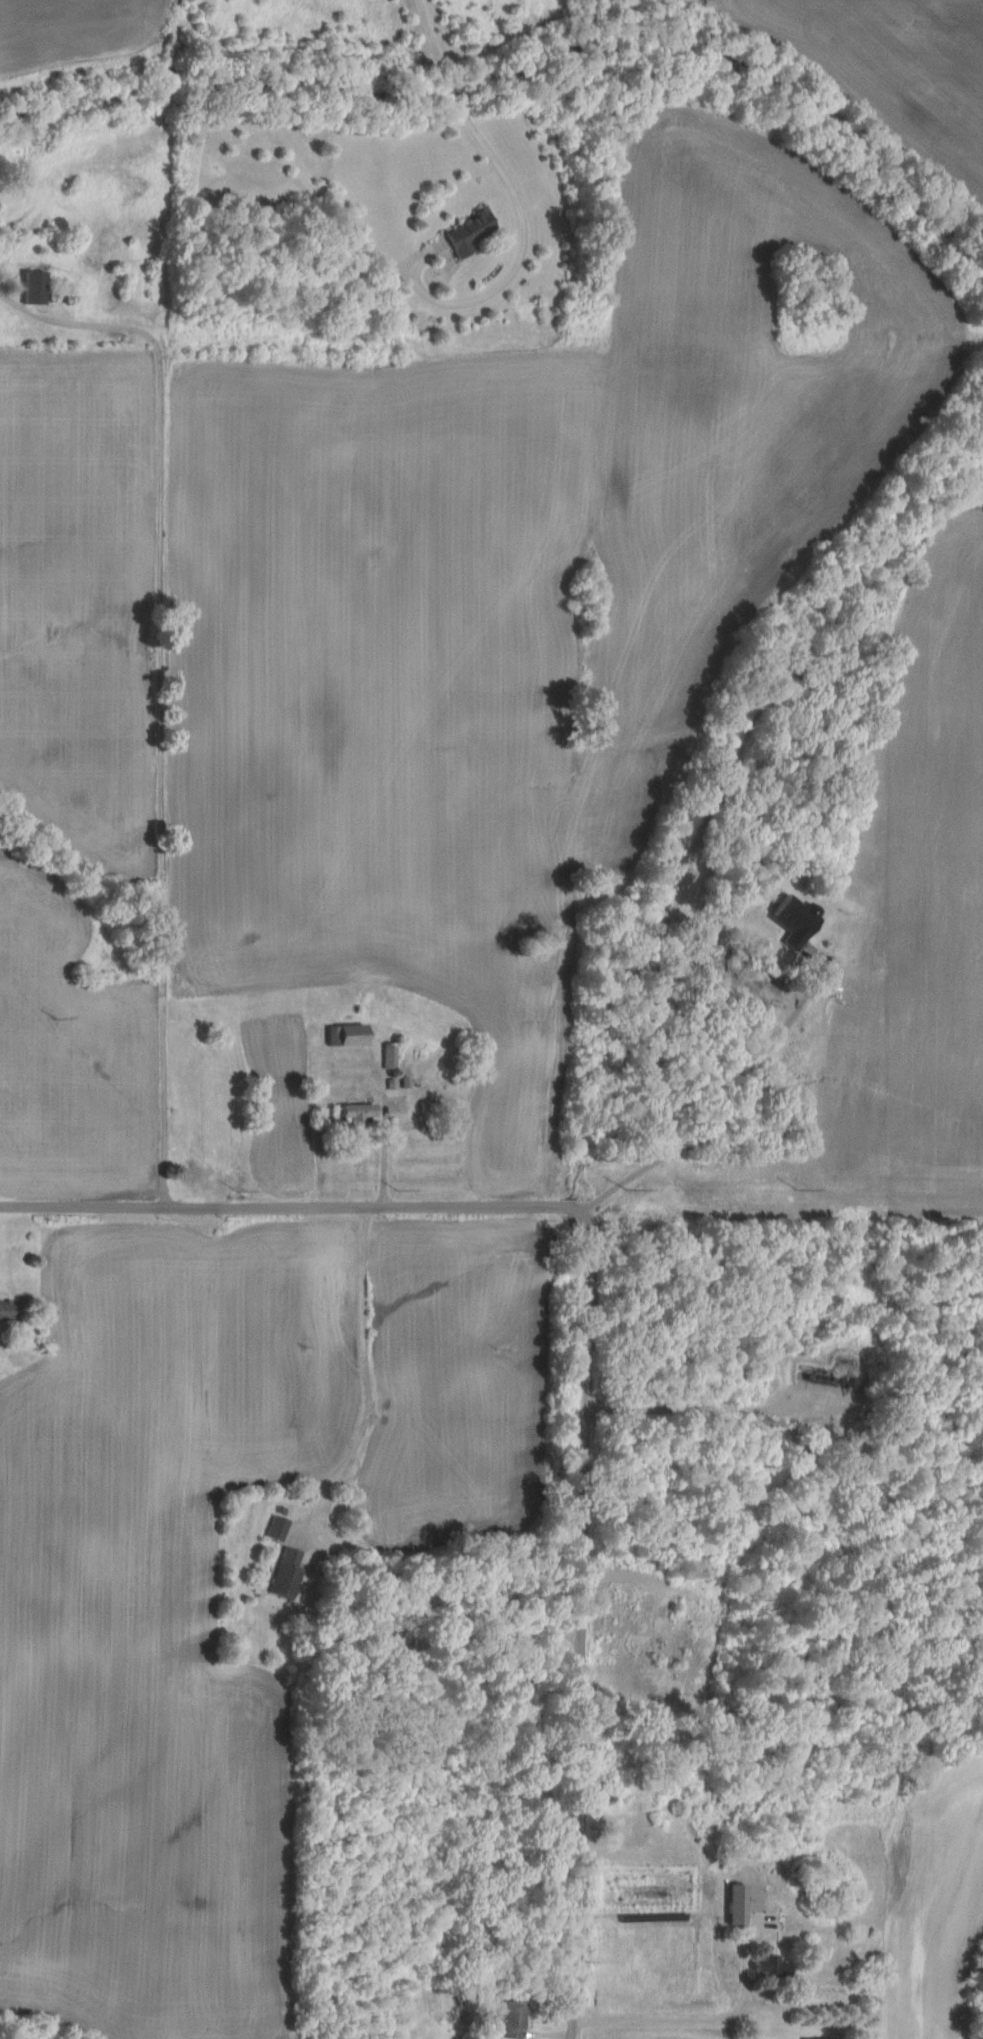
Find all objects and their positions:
crop: (74, 28)
road: (429, 33)
road: (452, 91)
building: (471, 233)
road: (520, 251)
building: (37, 288)
road: (159, 691)
building: (799, 921)
building: (349, 1036)
building: (360, 1114)
road: (386, 1129)
building: (9, 1310)
road: (588, 1332)
road: (320, 1513)
building: (280, 1527)
building: (290, 1574)
building: (741, 1904)
building: (774, 1966)
building: (517, 2020)
road: (684, 2020)
building: (810, 2038)

